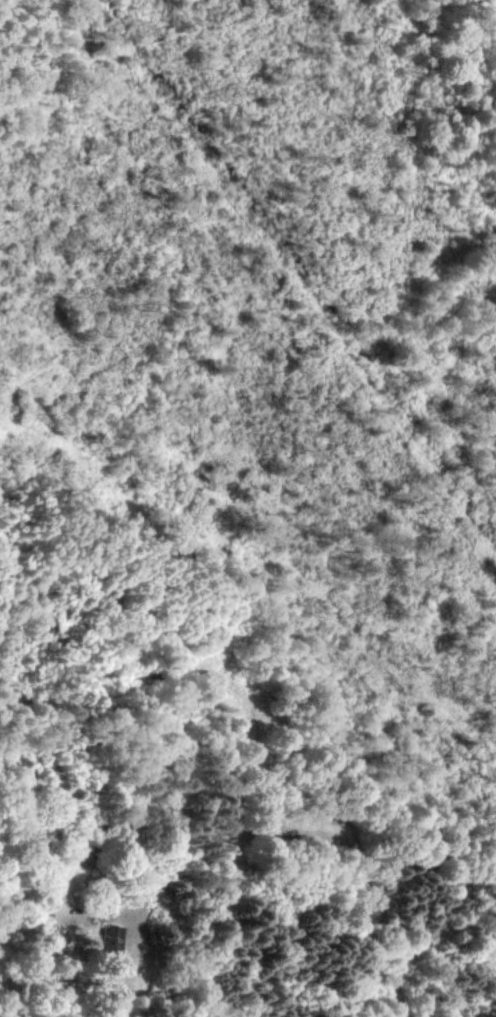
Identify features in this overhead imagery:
building: (112, 939)

